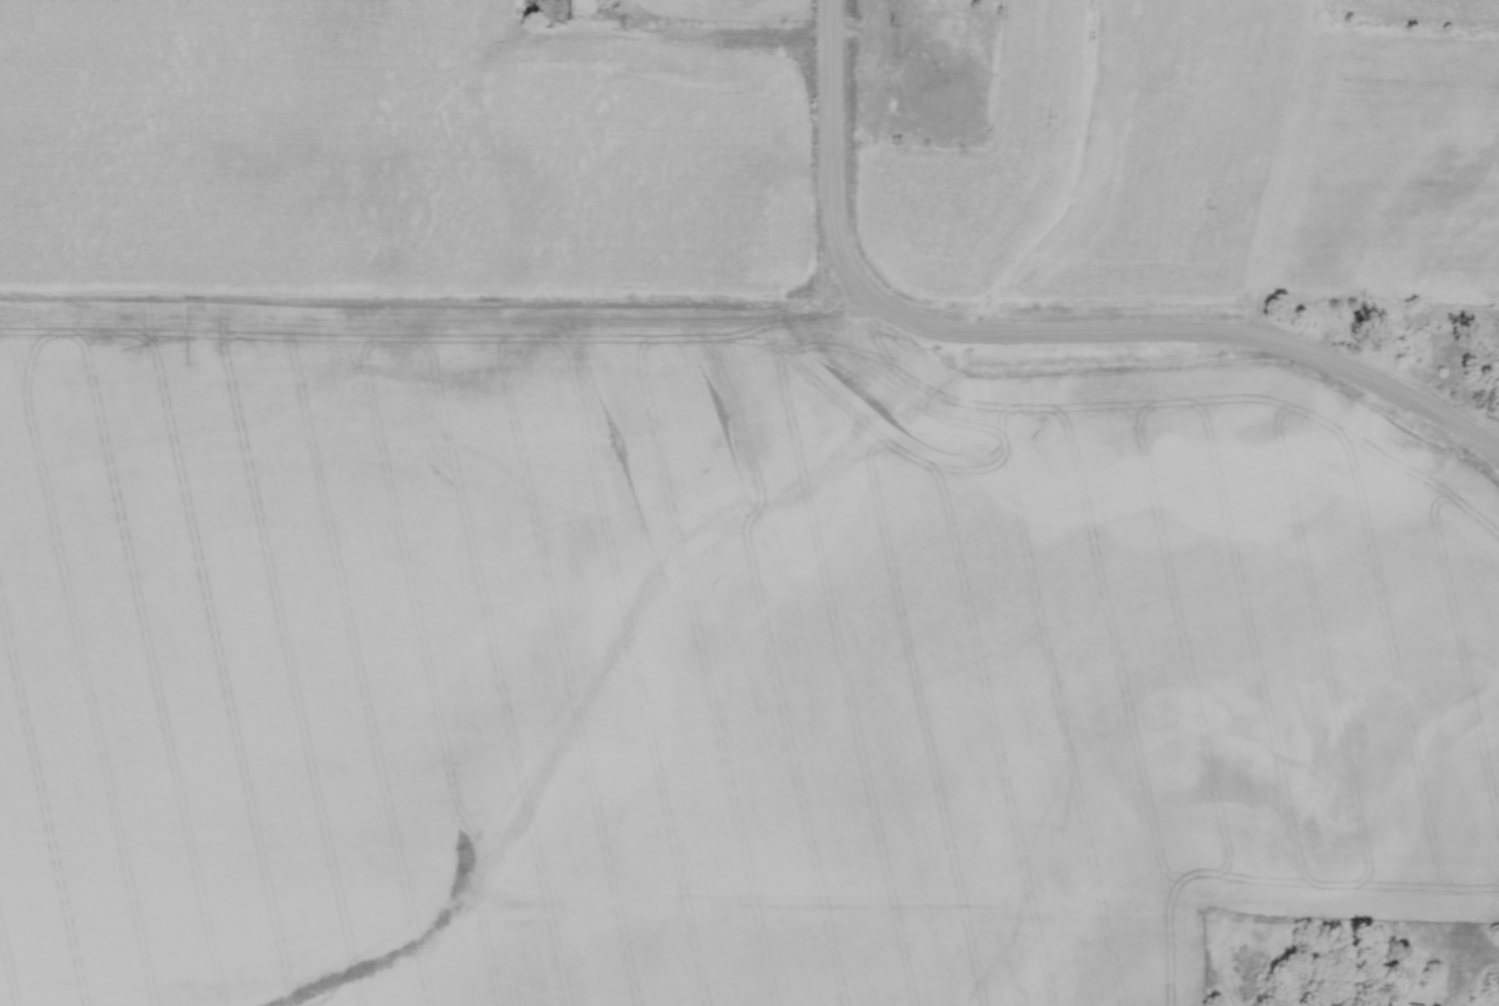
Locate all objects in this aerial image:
building: (545, 10)
road: (1037, 334)
building: (1304, 978)
building: (1498, 991)

